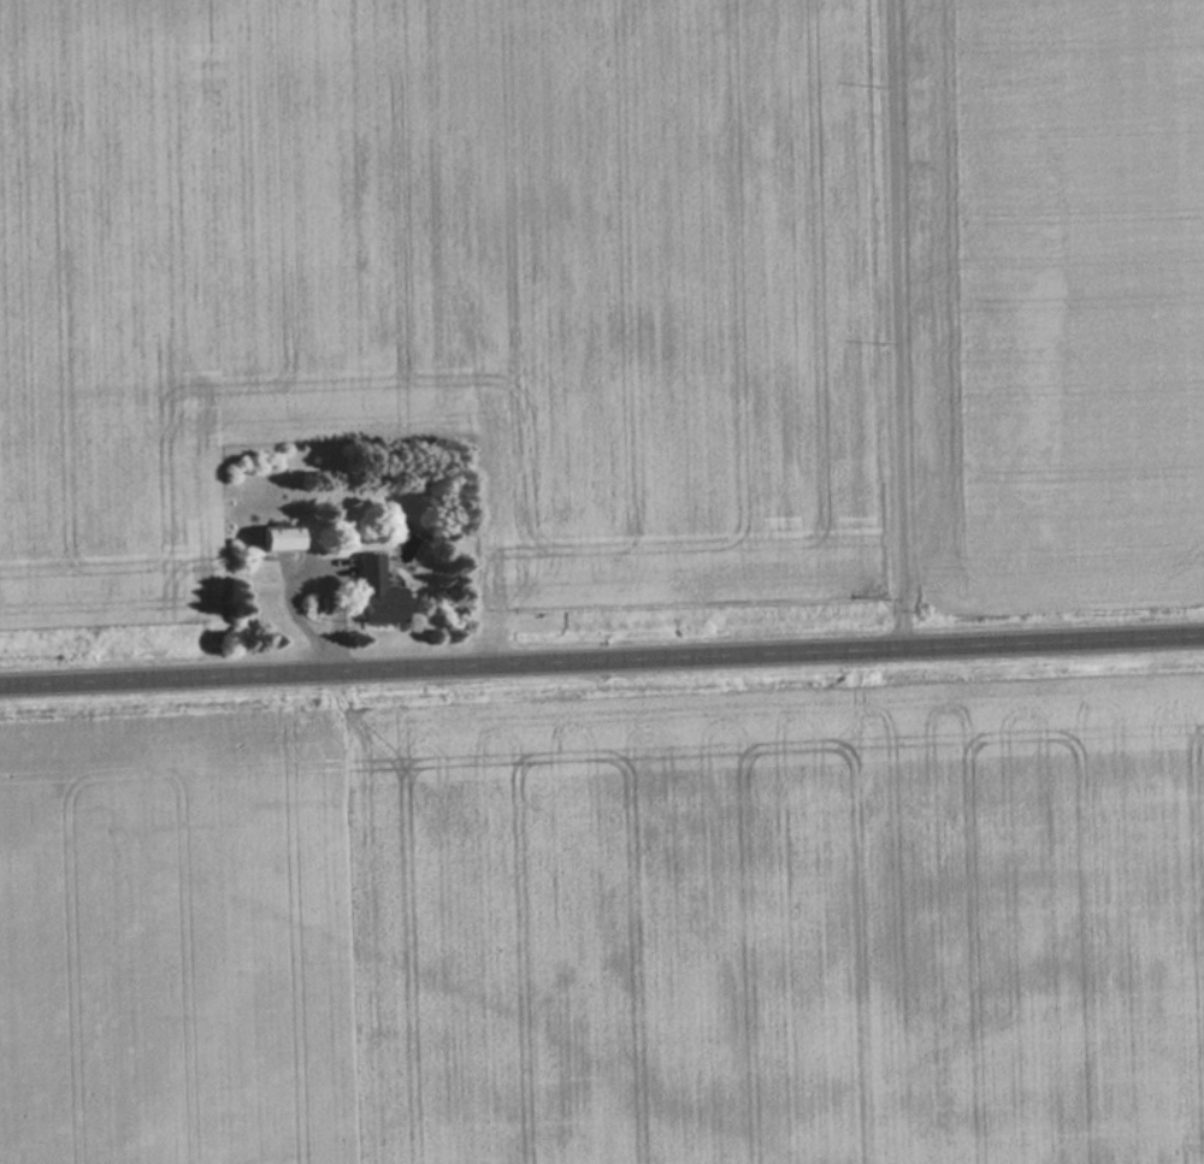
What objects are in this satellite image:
building: (283, 540)
building: (382, 593)
road: (602, 657)

